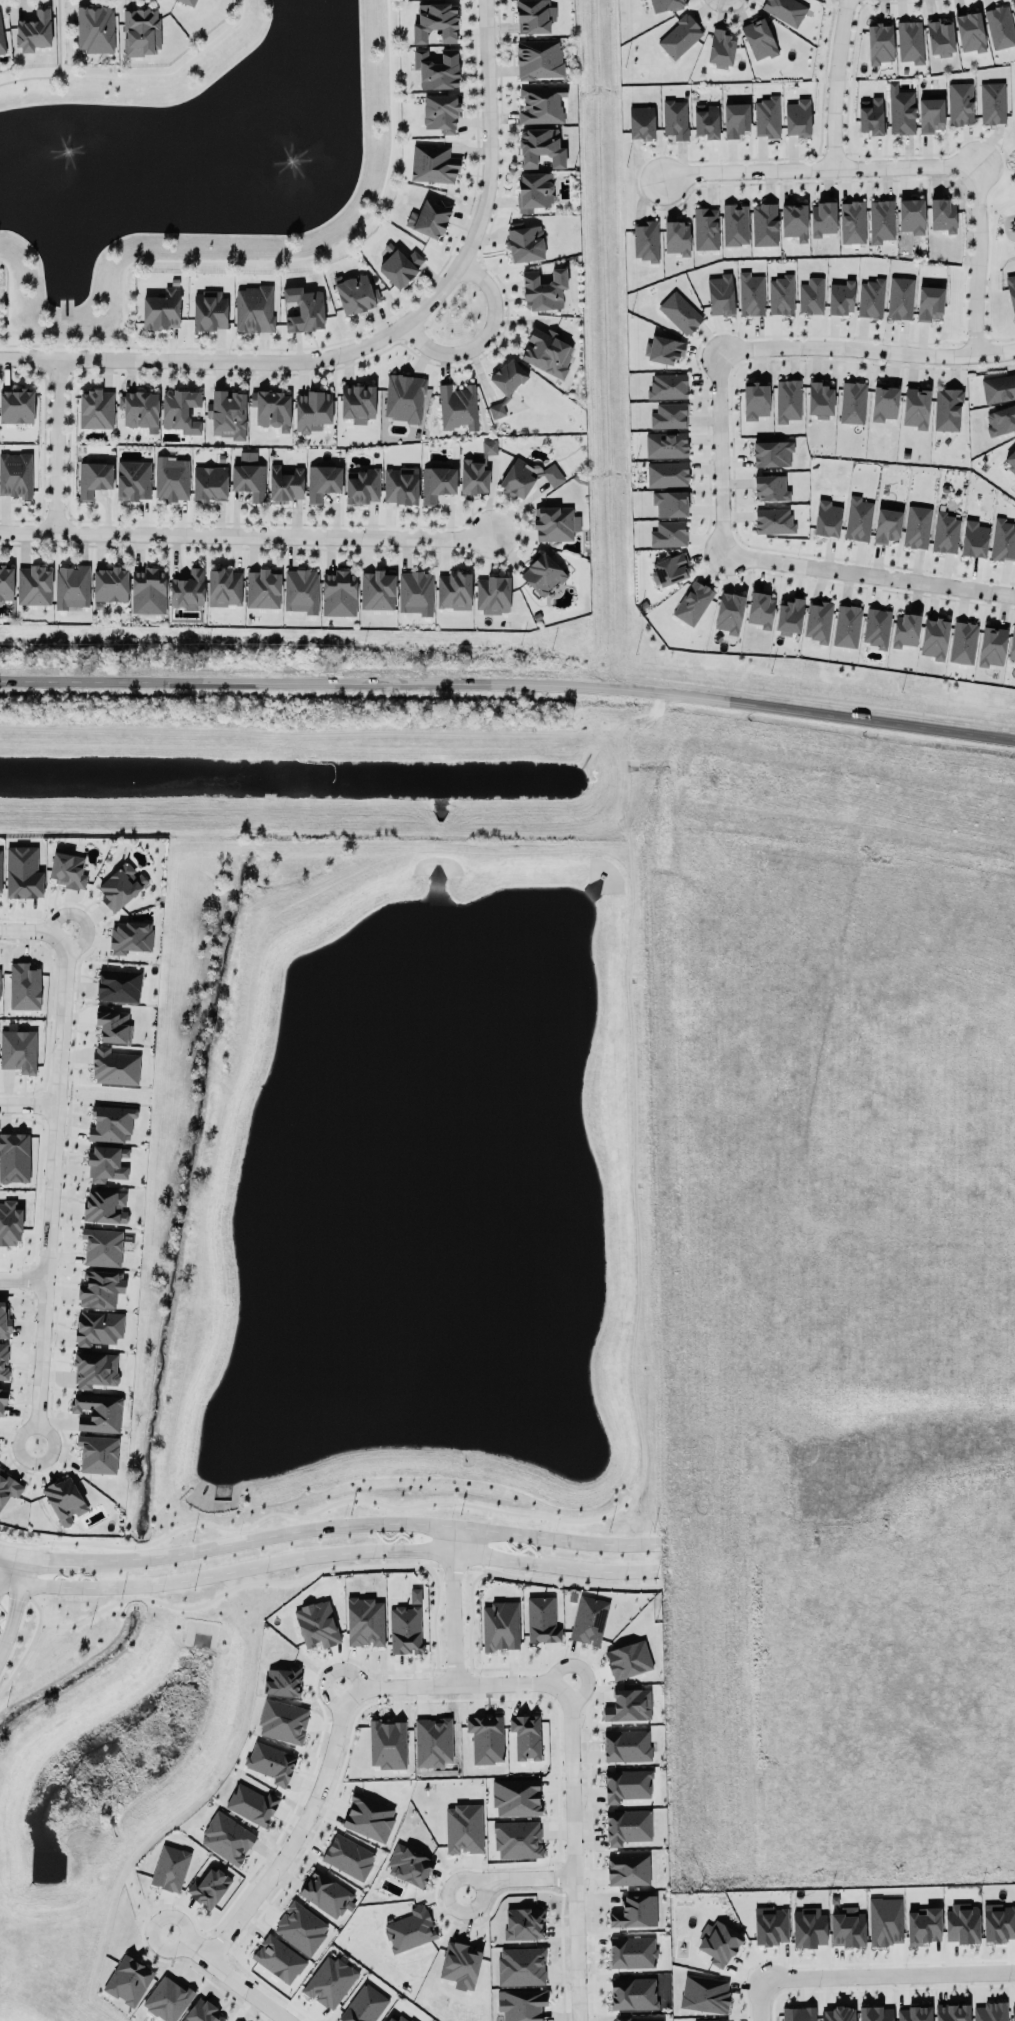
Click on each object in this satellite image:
building: (188, 2)
building: (666, 4)
building: (1014, 5)
building: (786, 10)
building: (534, 16)
building: (436, 22)
building: (1000, 27)
building: (95, 28)
building: (34, 31)
building: (141, 31)
building: (970, 32)
building: (940, 36)
building: (680, 37)
building: (2, 38)
building: (759, 39)
building: (910, 42)
building: (880, 43)
building: (720, 48)
building: (539, 58)
road: (55, 64)
building: (437, 69)
road: (836, 82)
building: (992, 102)
building: (960, 103)
building: (542, 104)
building: (901, 110)
building: (440, 113)
building: (931, 115)
building: (871, 116)
building: (767, 117)
building: (797, 118)
building: (675, 119)
building: (735, 119)
building: (706, 120)
building: (641, 122)
building: (540, 147)
fountain: (294, 150)
building: (433, 164)
fountain: (64, 165)
road: (820, 166)
building: (534, 191)
road: (998, 213)
building: (911, 215)
building: (943, 215)
road: (479, 216)
building: (430, 217)
building: (822, 218)
building: (881, 220)
building: (794, 221)
building: (852, 222)
building: (735, 224)
building: (764, 224)
building: (706, 228)
building: (677, 237)
building: (645, 240)
building: (525, 242)
road: (979, 259)
building: (400, 265)
building: (544, 290)
building: (1011, 291)
building: (356, 293)
road: (988, 293)
building: (721, 294)
building: (751, 294)
building: (781, 295)
building: (811, 296)
building: (841, 297)
building: (871, 298)
building: (900, 298)
building: (930, 303)
road: (2, 304)
building: (254, 308)
building: (304, 309)
building: (162, 310)
building: (210, 310)
building: (680, 313)
road: (483, 339)
road: (63, 346)
road: (867, 347)
building: (664, 349)
road: (1, 351)
building: (547, 351)
road: (164, 359)
building: (508, 377)
building: (668, 385)
building: (998, 388)
building: (404, 397)
building: (820, 399)
building: (755, 400)
building: (788, 400)
building: (358, 402)
building: (853, 402)
building: (884, 403)
building: (16, 406)
building: (458, 407)
building: (916, 407)
building: (139, 408)
building: (96, 409)
building: (272, 409)
building: (947, 409)
building: (180, 410)
building: (313, 410)
building: (497, 410)
building: (227, 414)
building: (669, 416)
building: (1001, 421)
road: (53, 443)
building: (666, 445)
road: (722, 452)
building: (772, 453)
building: (1010, 460)
building: (477, 471)
building: (667, 474)
building: (16, 475)
building: (249, 476)
building: (526, 477)
building: (94, 478)
building: (172, 478)
building: (133, 480)
building: (323, 480)
building: (438, 482)
building: (209, 483)
building: (285, 483)
building: (400, 485)
building: (362, 486)
building: (771, 488)
building: (671, 503)
building: (827, 518)
building: (858, 518)
building: (774, 520)
building: (555, 523)
building: (887, 525)
building: (917, 526)
road: (247, 532)
building: (945, 532)
building: (669, 534)
building: (974, 539)
building: (1003, 540)
building: (670, 569)
road: (869, 573)
building: (543, 574)
building: (6, 583)
building: (110, 584)
building: (34, 585)
building: (72, 586)
building: (224, 587)
building: (263, 589)
building: (149, 590)
building: (188, 590)
building: (377, 590)
building: (454, 590)
building: (302, 591)
building: (416, 592)
building: (339, 593)
building: (493, 594)
building: (693, 603)
building: (760, 609)
building: (729, 612)
building: (790, 617)
building: (818, 621)
building: (847, 626)
building: (877, 627)
building: (905, 630)
building: (934, 638)
building: (963, 642)
building: (992, 645)
building: (1012, 645)
road: (509, 683)
road: (582, 829)
building: (68, 870)
building: (23, 872)
building: (1, 873)
building: (121, 886)
road: (35, 930)
building: (131, 937)
building: (0, 978)
building: (119, 985)
building: (25, 986)
building: (113, 1024)
road: (972, 1048)
building: (19, 1050)
building: (115, 1067)
road: (29, 1104)
building: (111, 1123)
building: (14, 1157)
building: (107, 1163)
road: (52, 1187)
building: (105, 1206)
building: (10, 1222)
road: (863, 1234)
building: (103, 1247)
road: (23, 1278)
building: (100, 1288)
building: (4, 1322)
building: (98, 1328)
building: (4, 1361)
building: (95, 1369)
building: (2, 1401)
building: (98, 1412)
building: (98, 1454)
building: (8, 1487)
building: (65, 1500)
road: (329, 1526)
road: (0, 1547)
road: (0, 1550)
road: (343, 1553)
road: (455, 1605)
road: (18, 1607)
building: (542, 1620)
building: (589, 1620)
building: (365, 1621)
building: (317, 1624)
building: (501, 1625)
building: (405, 1629)
building: (628, 1659)
building: (283, 1681)
road: (458, 1683)
building: (629, 1705)
building: (283, 1721)
building: (526, 1736)
building: (486, 1738)
building: (433, 1741)
building: (388, 1744)
building: (626, 1745)
building: (271, 1762)
building: (627, 1785)
building: (516, 1797)
building: (252, 1804)
building: (369, 1817)
building: (627, 1826)
building: (464, 1828)
road: (298, 1833)
building: (227, 1838)
building: (518, 1839)
road: (575, 1851)
building: (349, 1857)
building: (409, 1865)
building: (170, 1868)
building: (628, 1869)
road: (518, 1877)
building: (208, 1887)
building: (326, 1893)
building: (635, 1912)
building: (885, 1921)
building: (999, 1922)
building: (524, 1923)
building: (962, 1923)
building: (771, 1925)
building: (924, 1926)
building: (301, 1927)
building: (808, 1927)
building: (847, 1927)
building: (410, 1929)
building: (718, 1943)
building: (632, 1951)
building: (279, 1959)
building: (461, 1965)
building: (521, 1966)
road: (888, 1975)
road: (228, 1976)
building: (128, 1980)
building: (330, 1981)
building: (633, 1993)
building: (705, 1994)
building: (168, 1999)
road: (761, 2000)
building: (364, 2004)
building: (521, 2004)
building: (202, 2011)
building: (991, 2011)
building: (915, 2012)
building: (952, 2012)
building: (1013, 2012)
building: (876, 2013)
building: (799, 2014)
building: (838, 2014)
building: (396, 2017)
building: (638, 2019)
building: (712, 2019)

